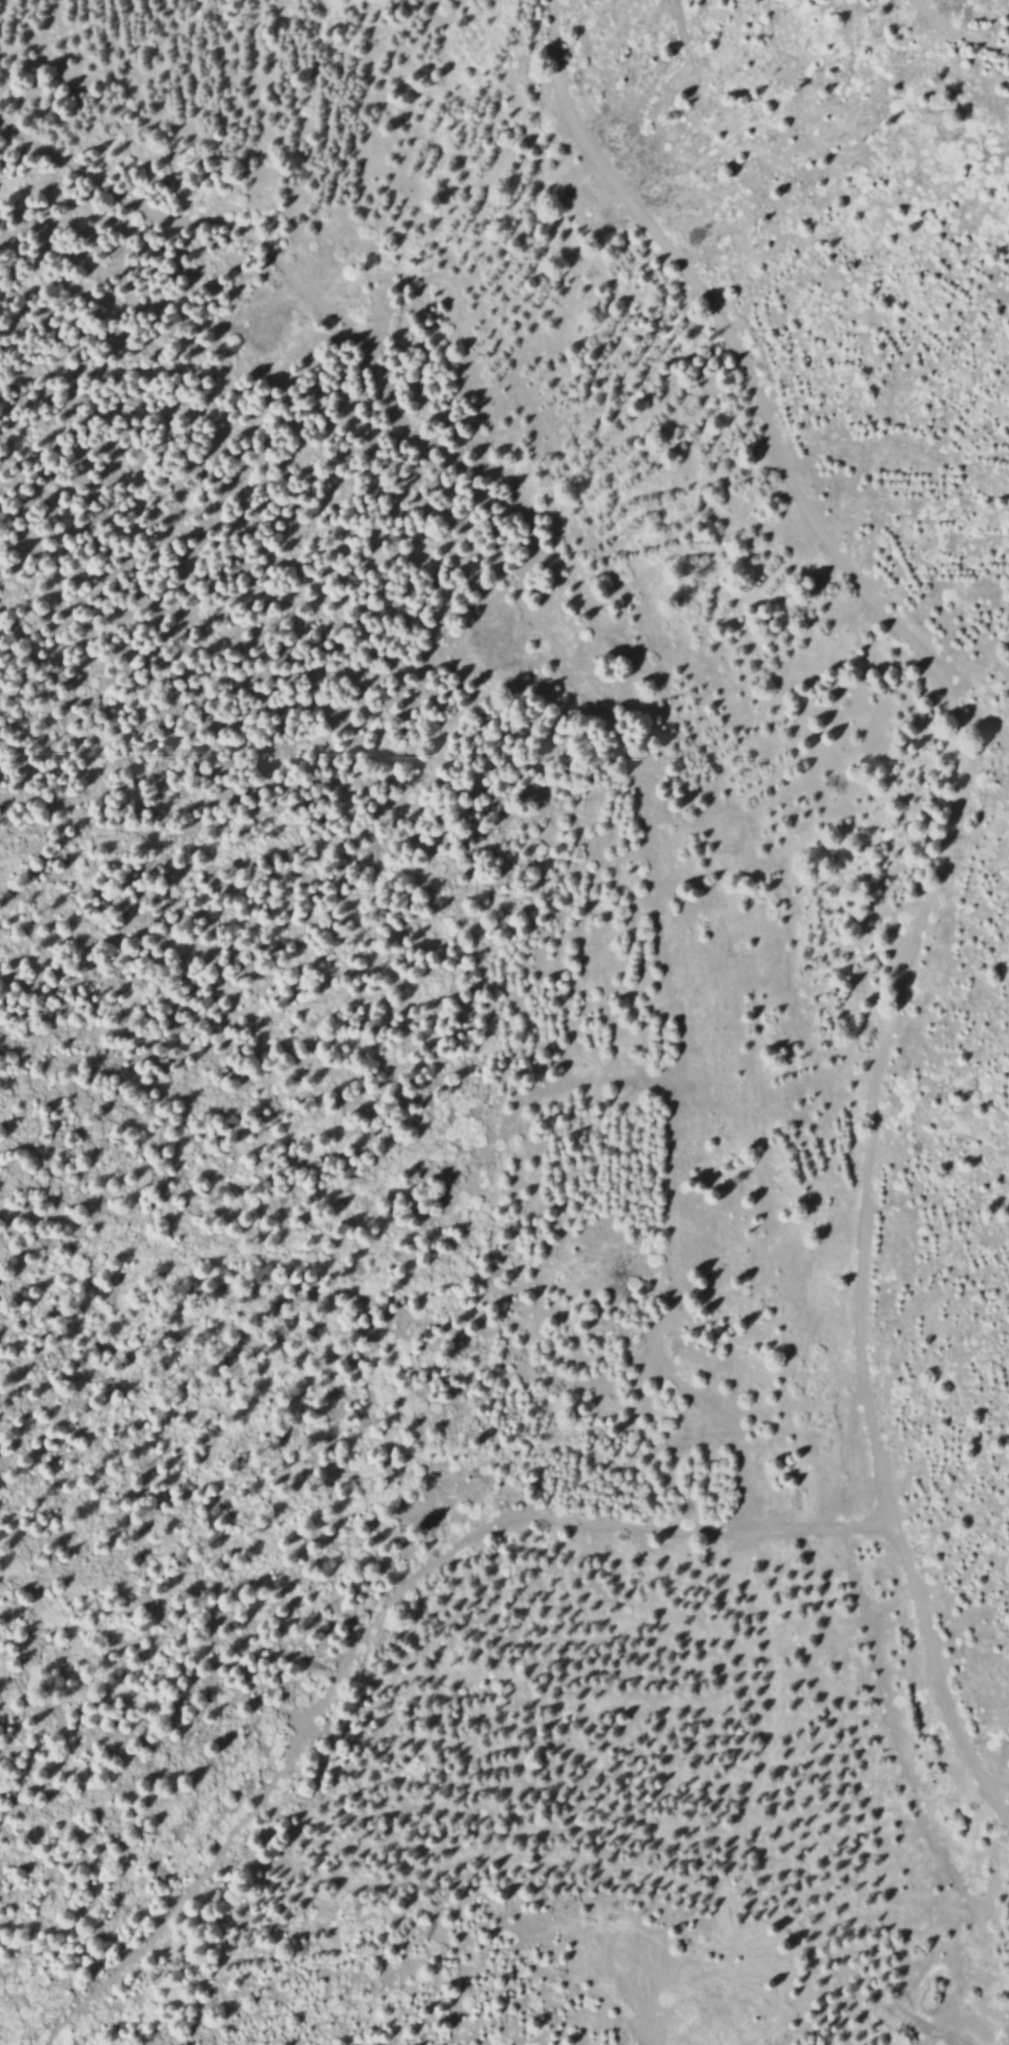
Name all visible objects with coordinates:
road: (955, 31)
road: (583, 708)
road: (942, 867)
road: (612, 1530)
road: (223, 1847)
road: (658, 2003)

